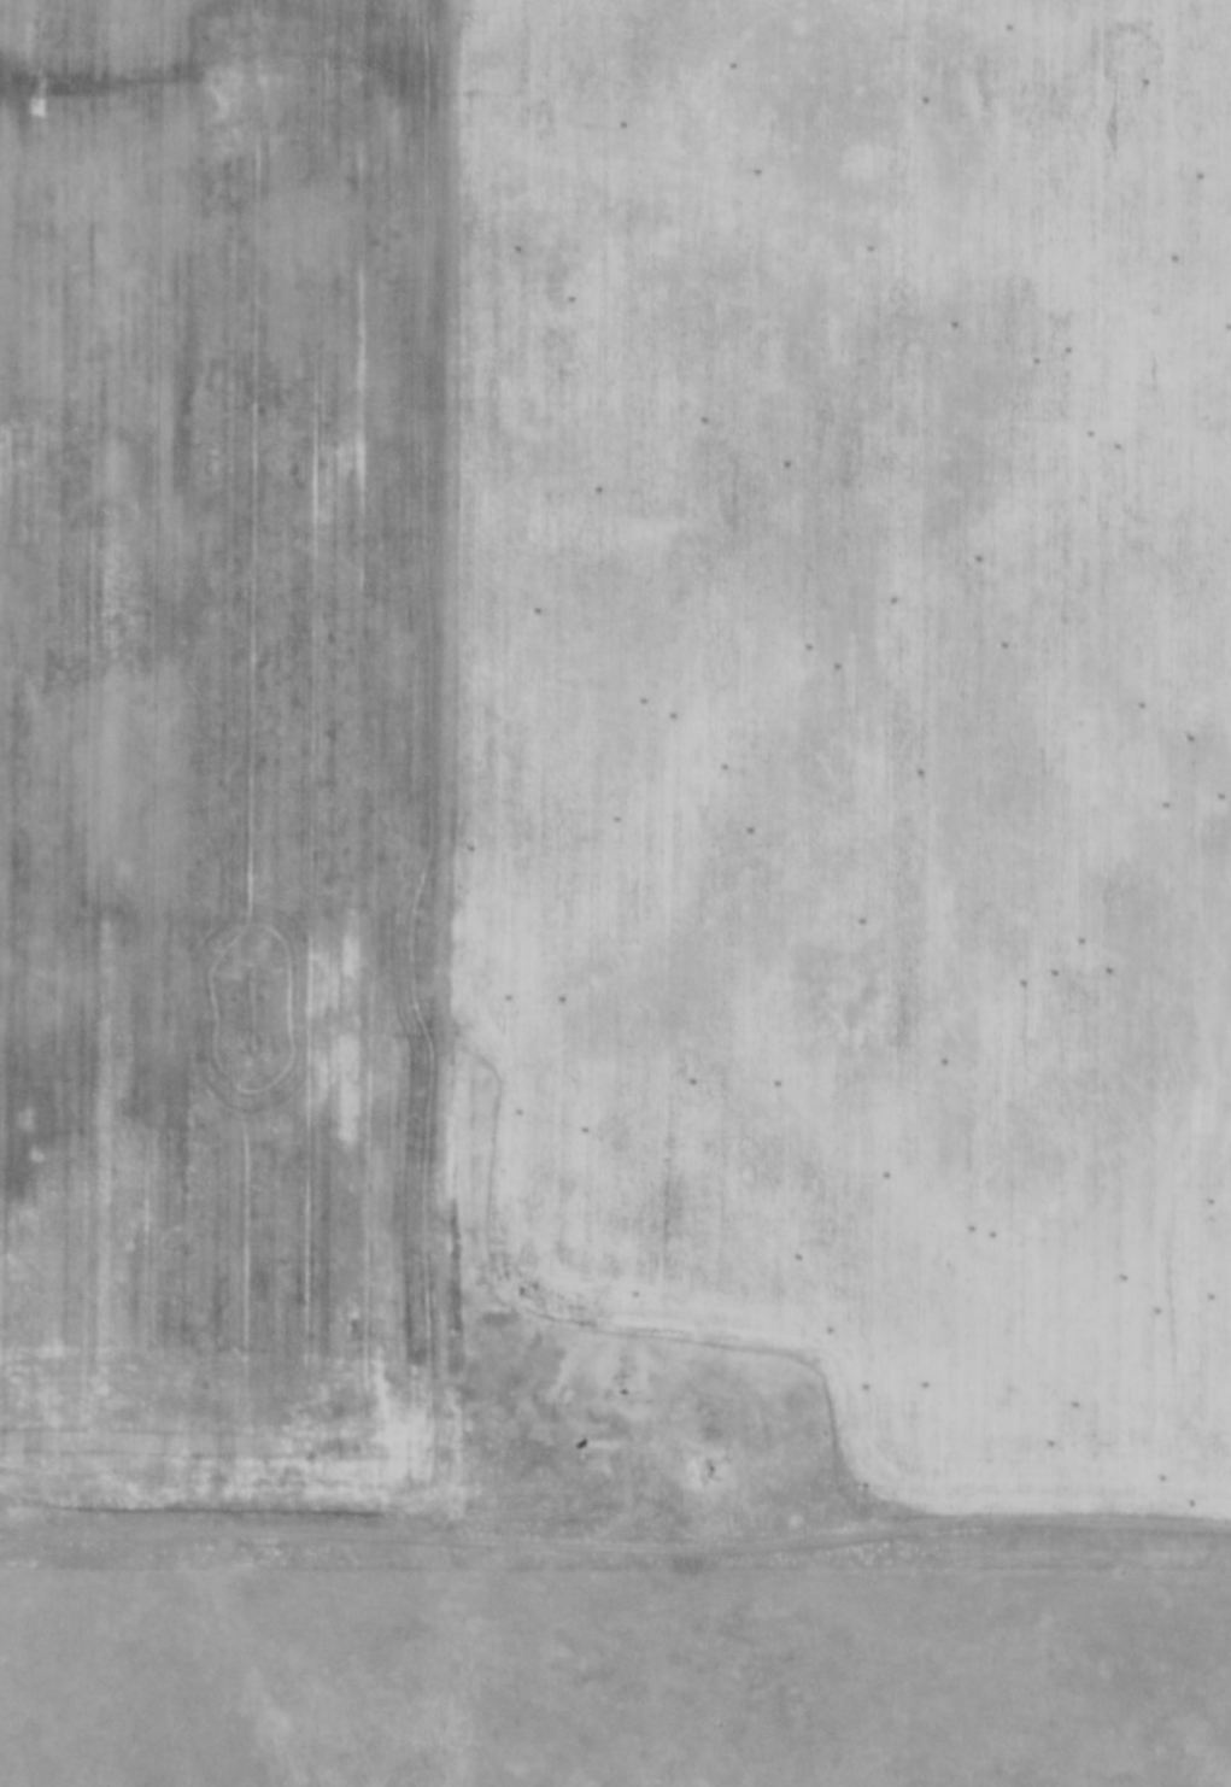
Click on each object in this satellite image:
road: (615, 1548)

